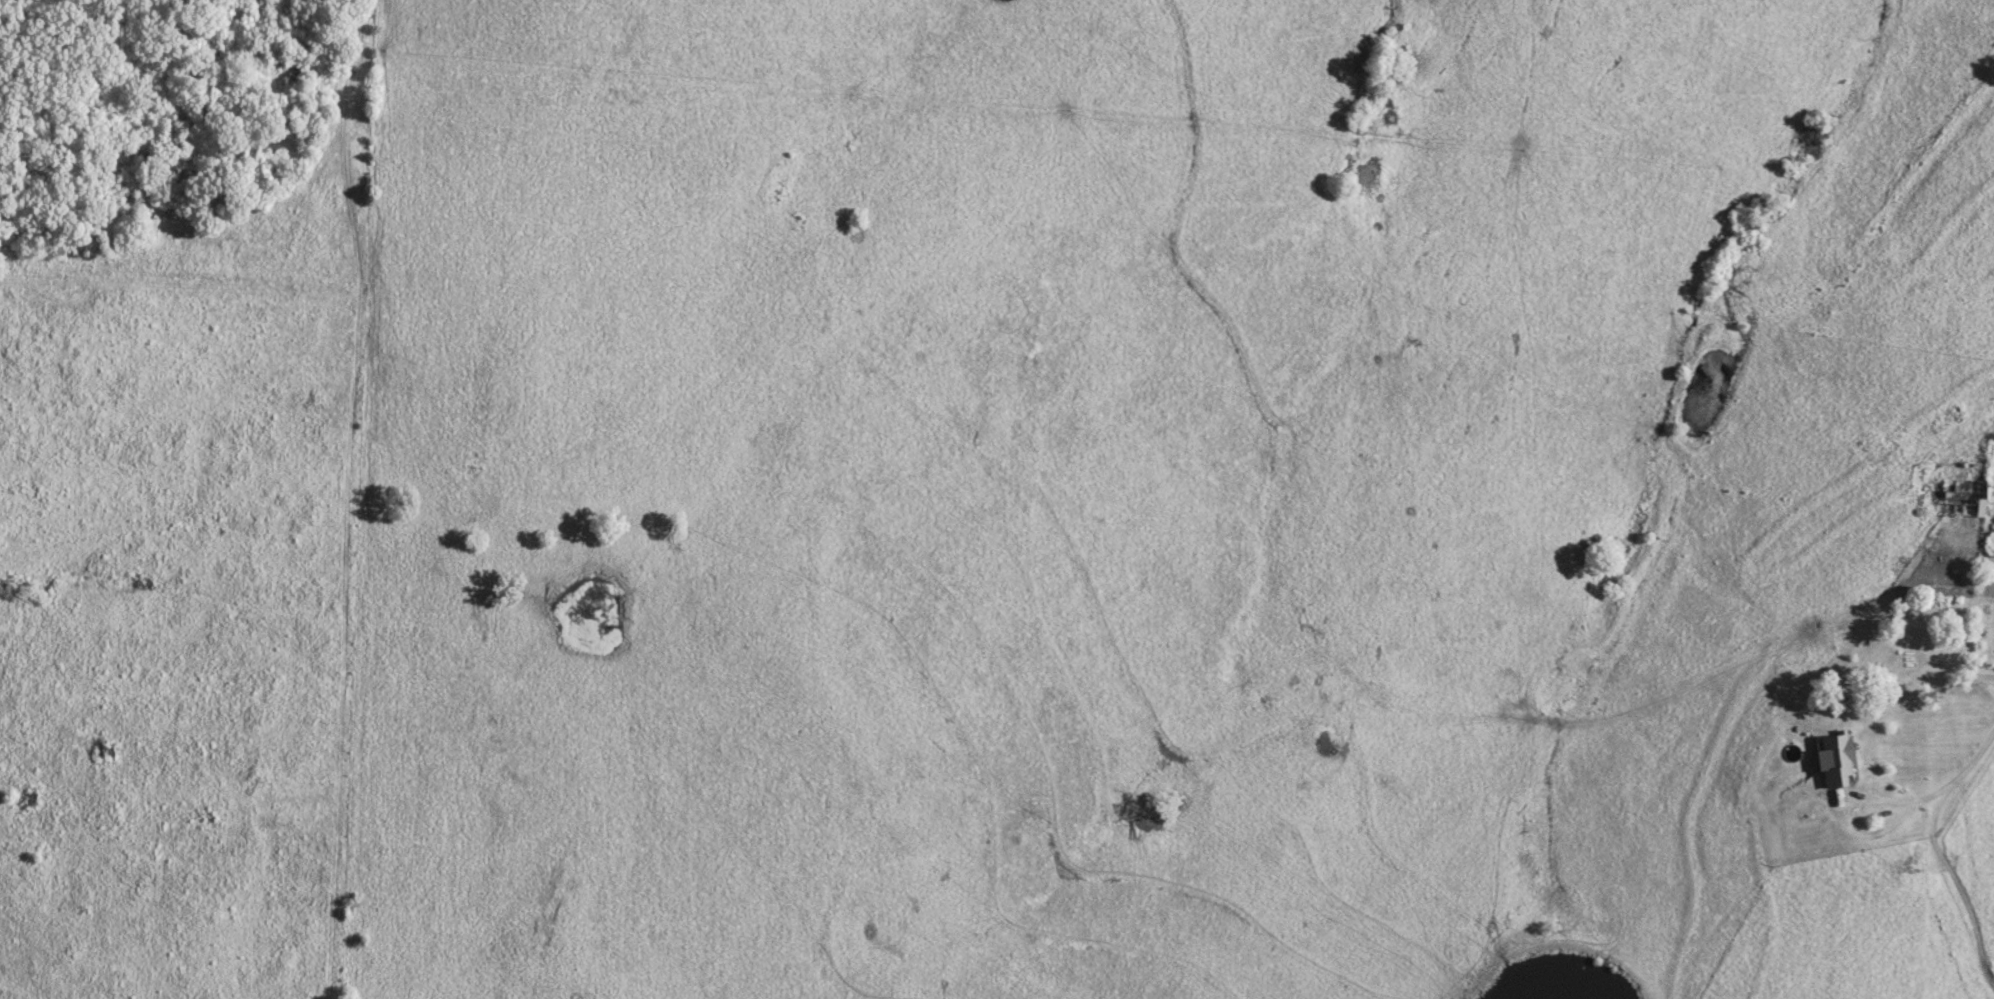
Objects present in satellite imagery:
building: (1965, 497)
building: (1905, 658)
road: (1991, 678)
road: (1933, 795)

